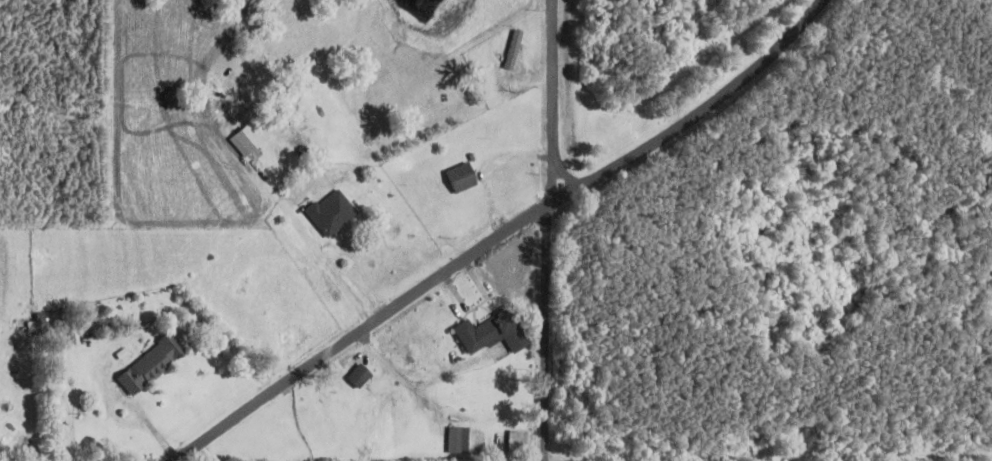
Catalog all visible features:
building: (513, 52)
road: (551, 100)
building: (245, 141)
building: (458, 180)
building: (331, 216)
road: (479, 248)
road: (555, 330)
building: (488, 335)
road: (93, 344)
building: (148, 366)
building: (355, 379)
building: (326, 405)
building: (465, 442)
building: (519, 444)

